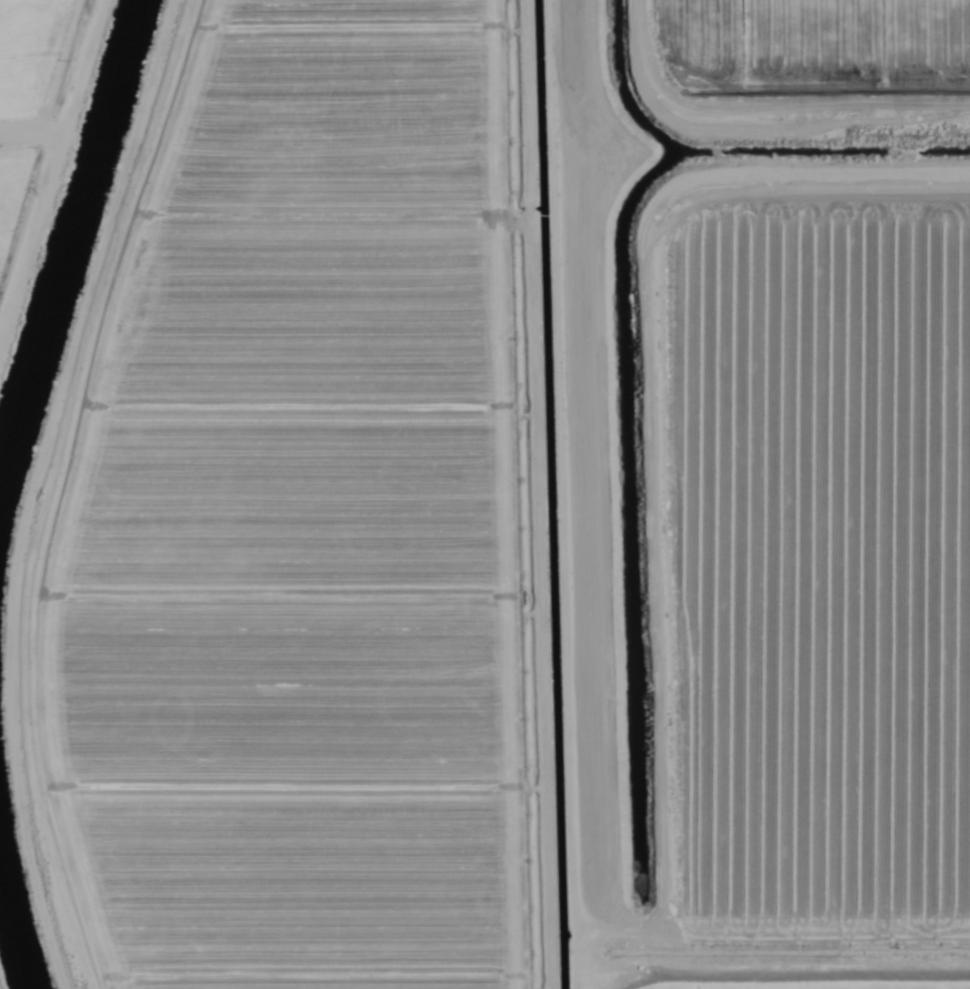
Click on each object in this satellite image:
road: (36, 490)

